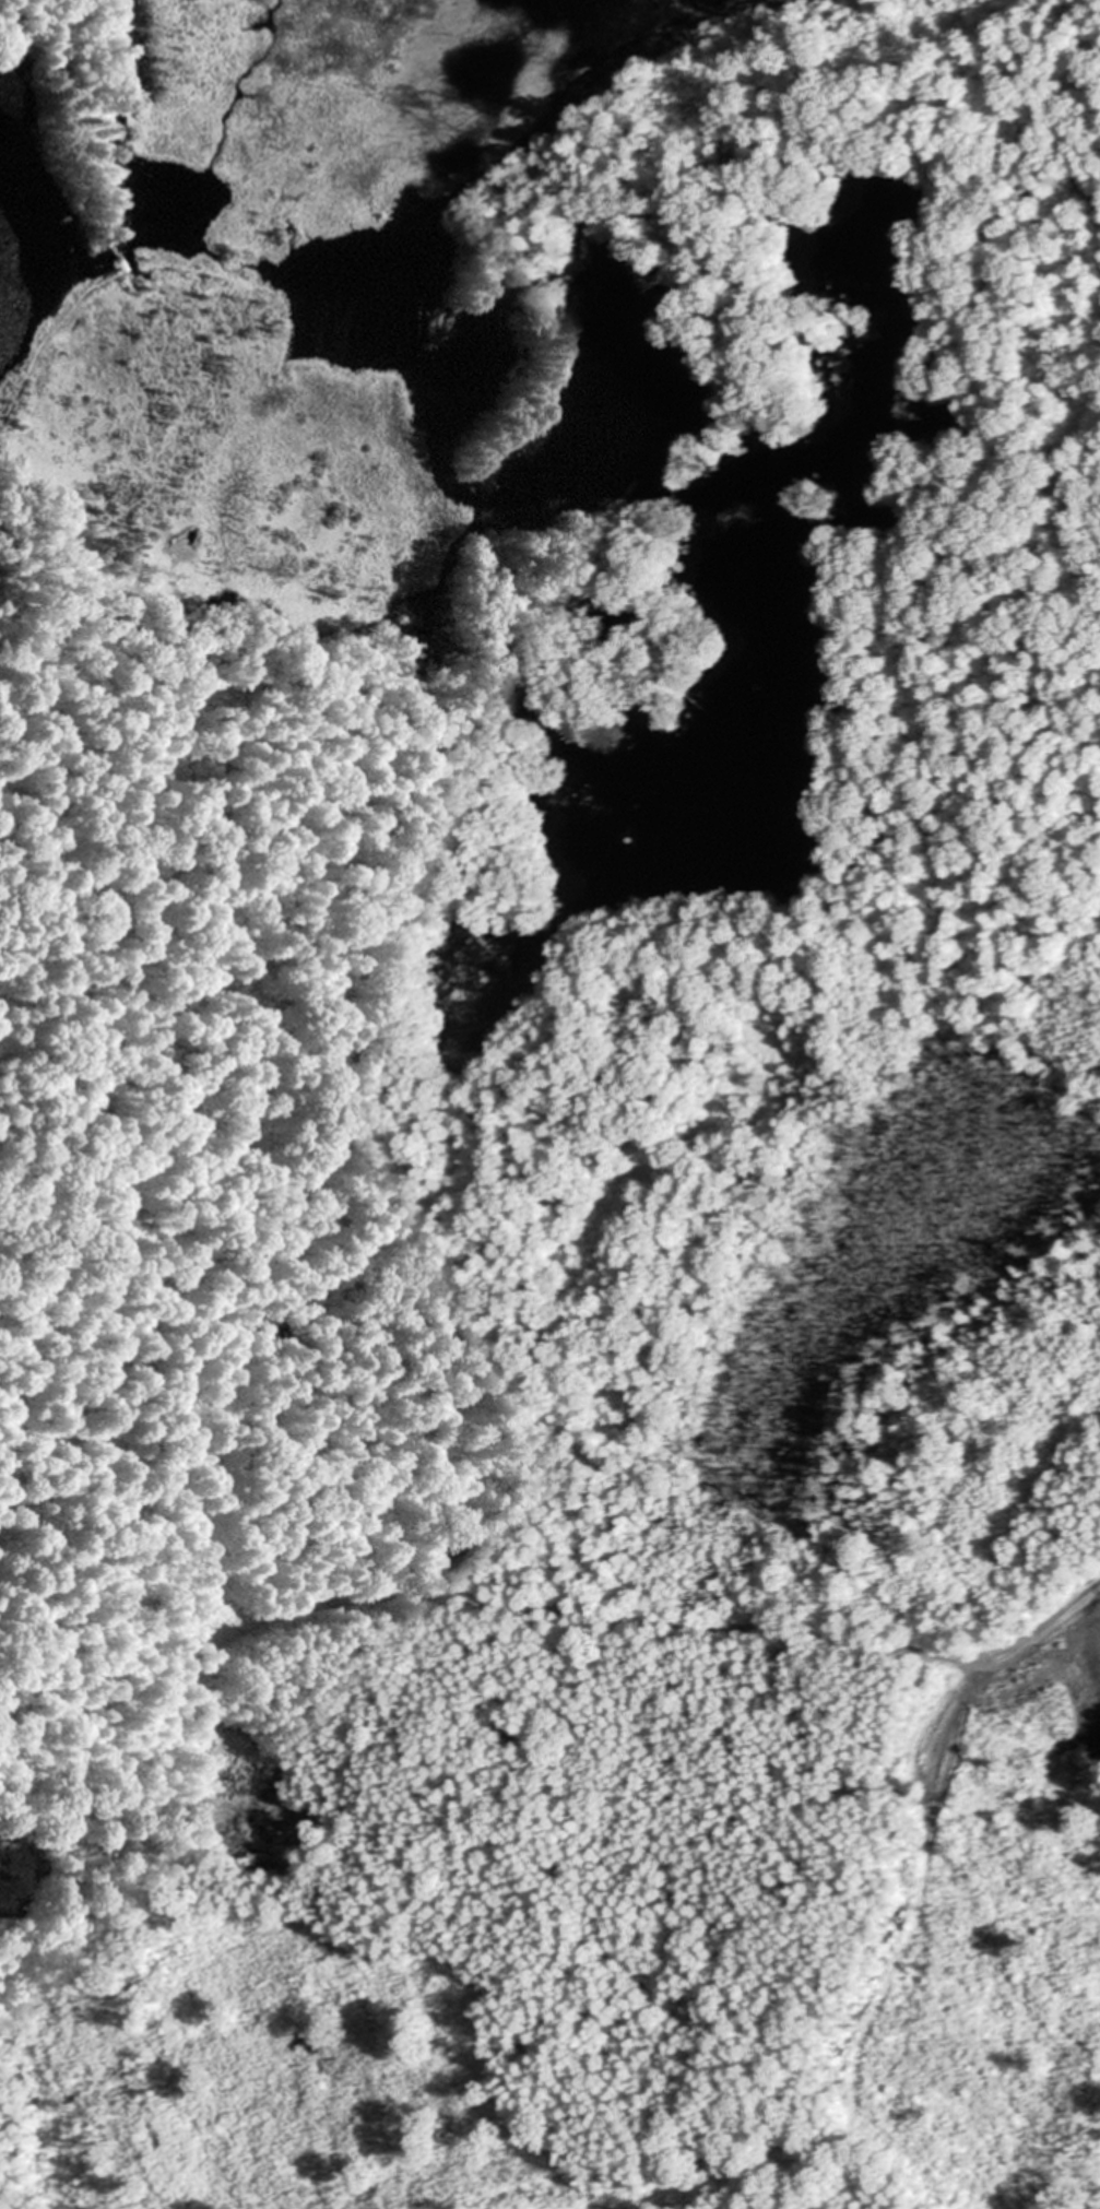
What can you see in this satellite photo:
road: (104, 226)
road: (494, 1124)
road: (272, 1621)
road: (882, 1647)

